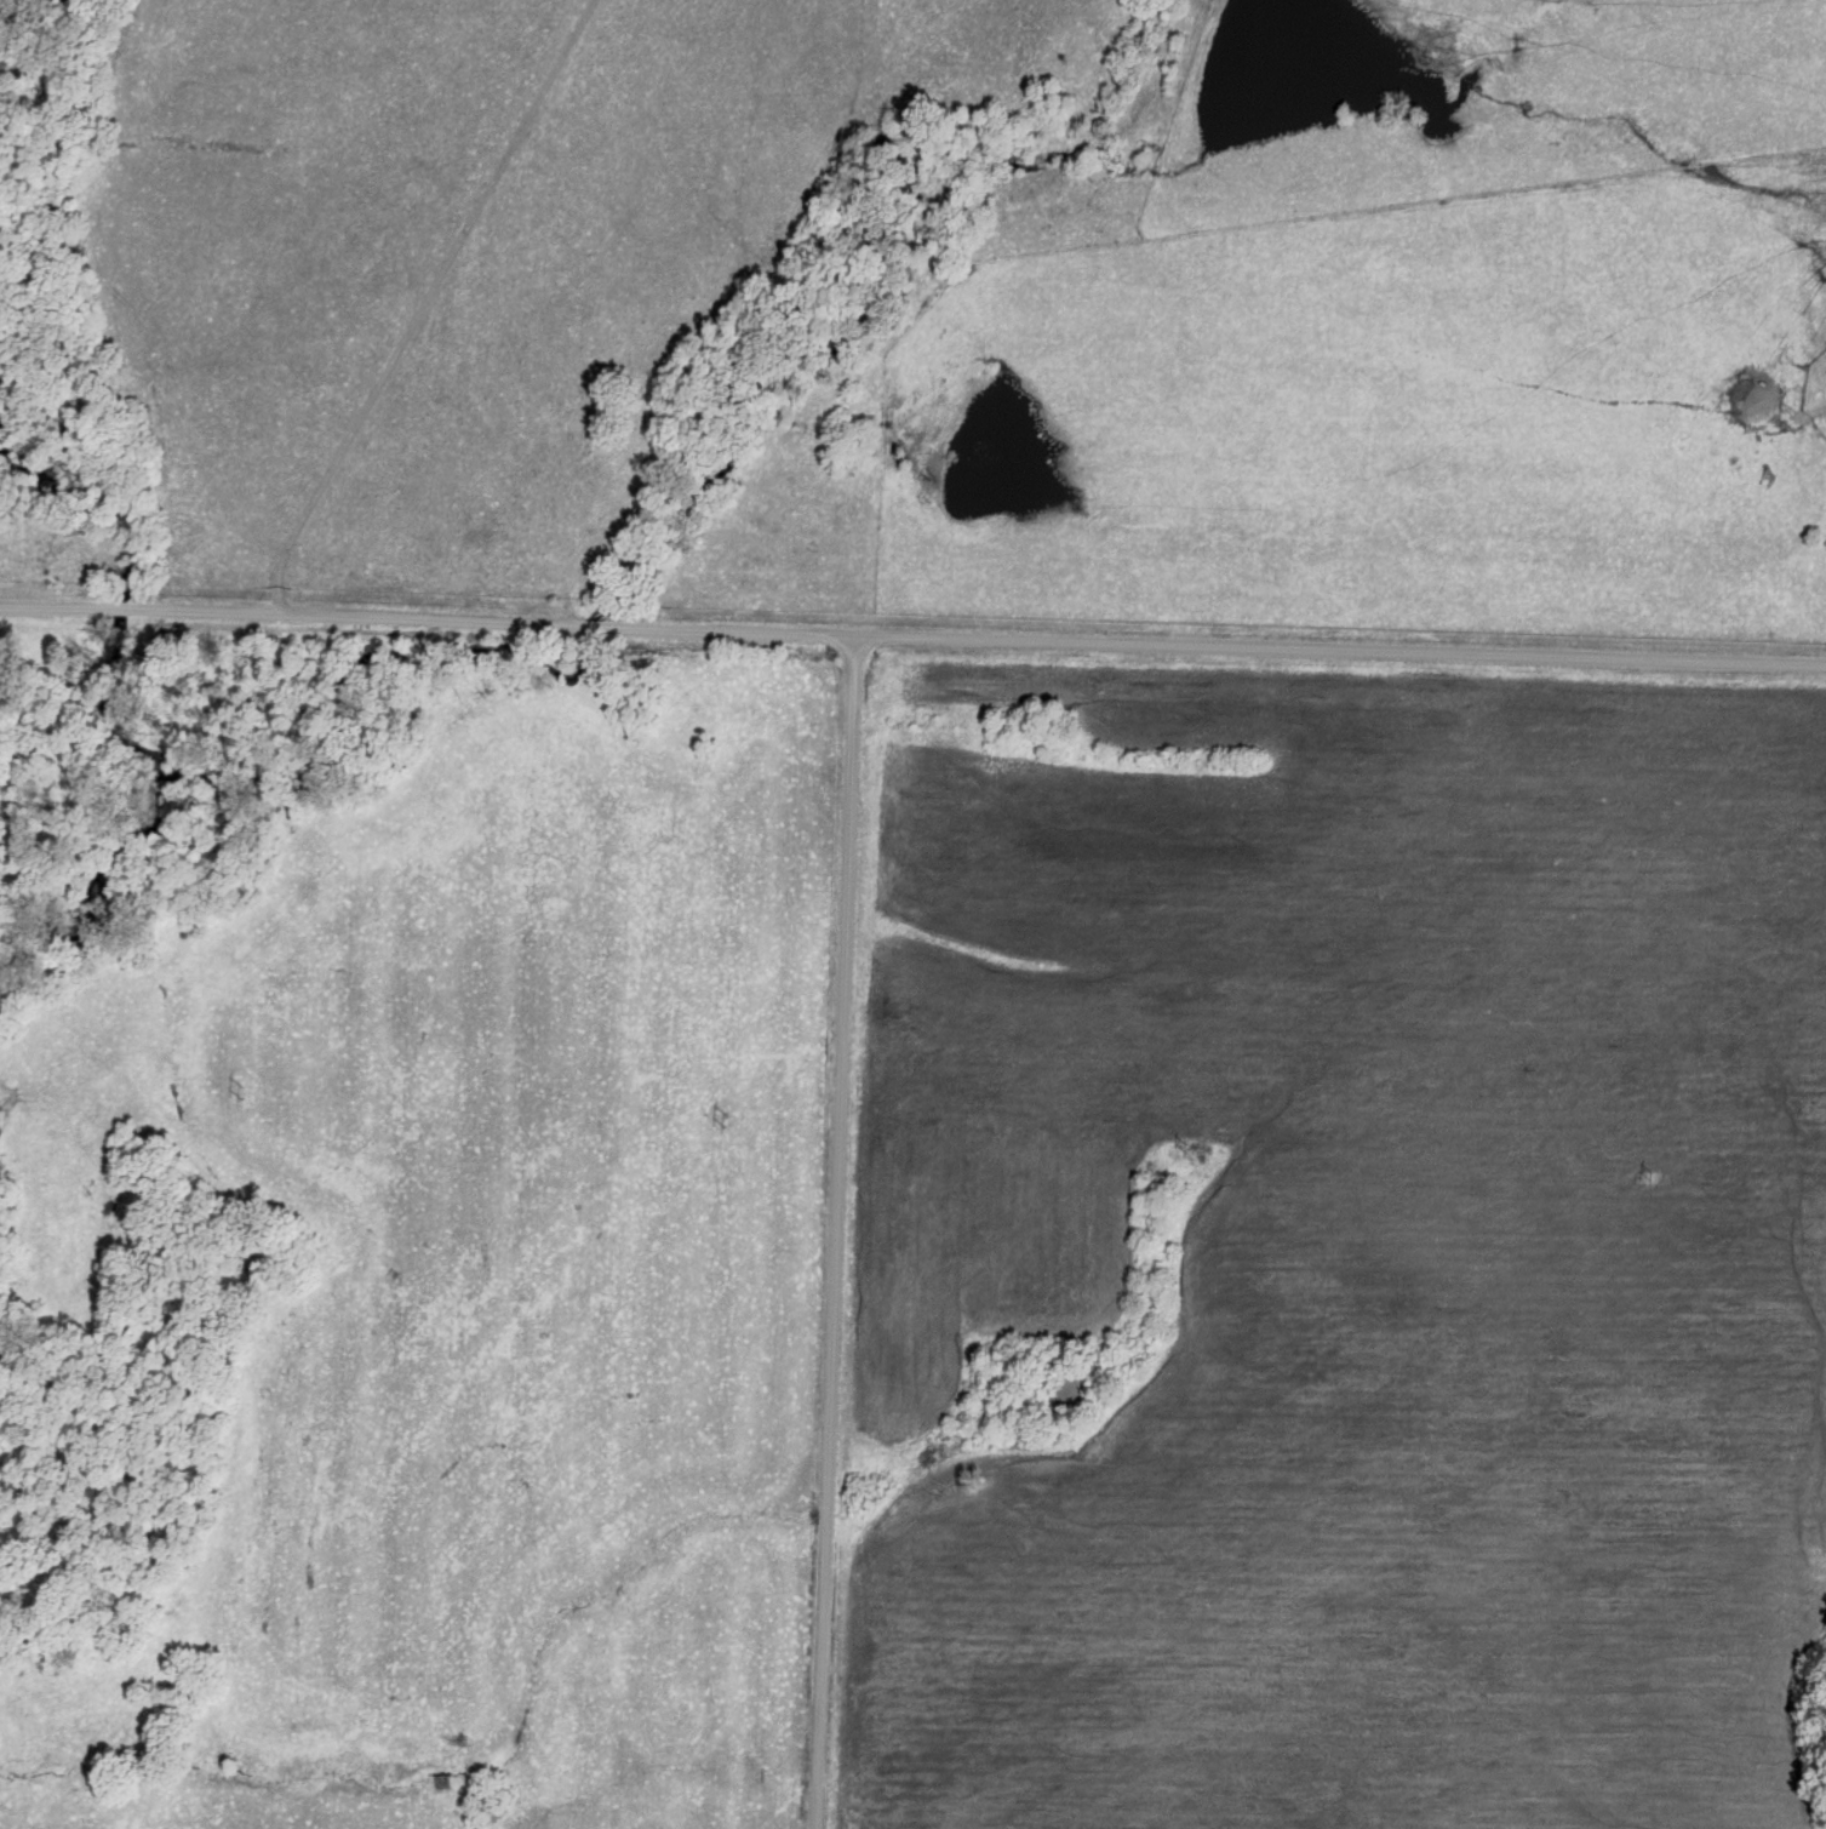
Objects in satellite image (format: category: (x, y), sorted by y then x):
road: (912, 640)
road: (840, 1234)

